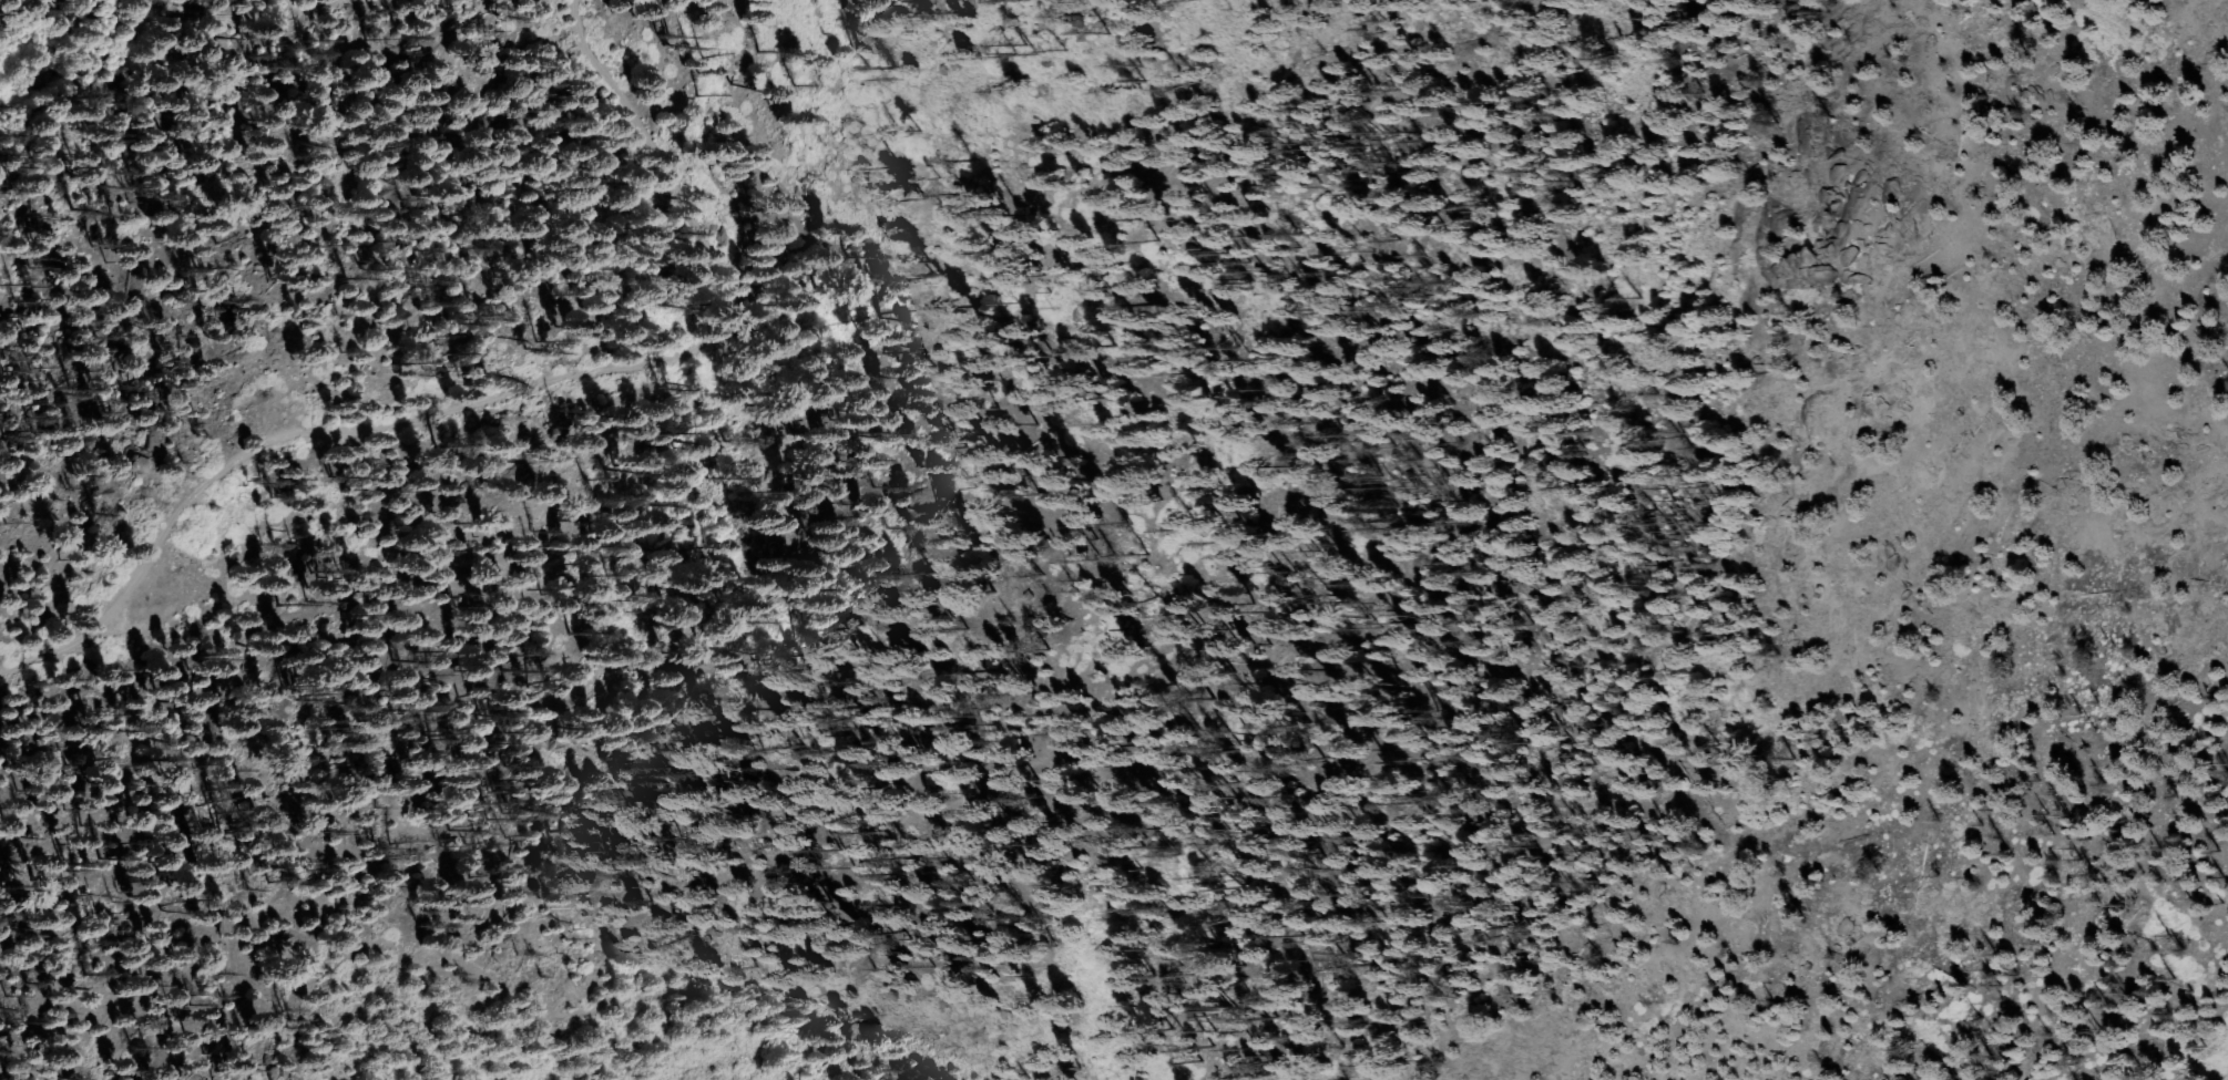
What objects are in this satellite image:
road: (489, 398)

